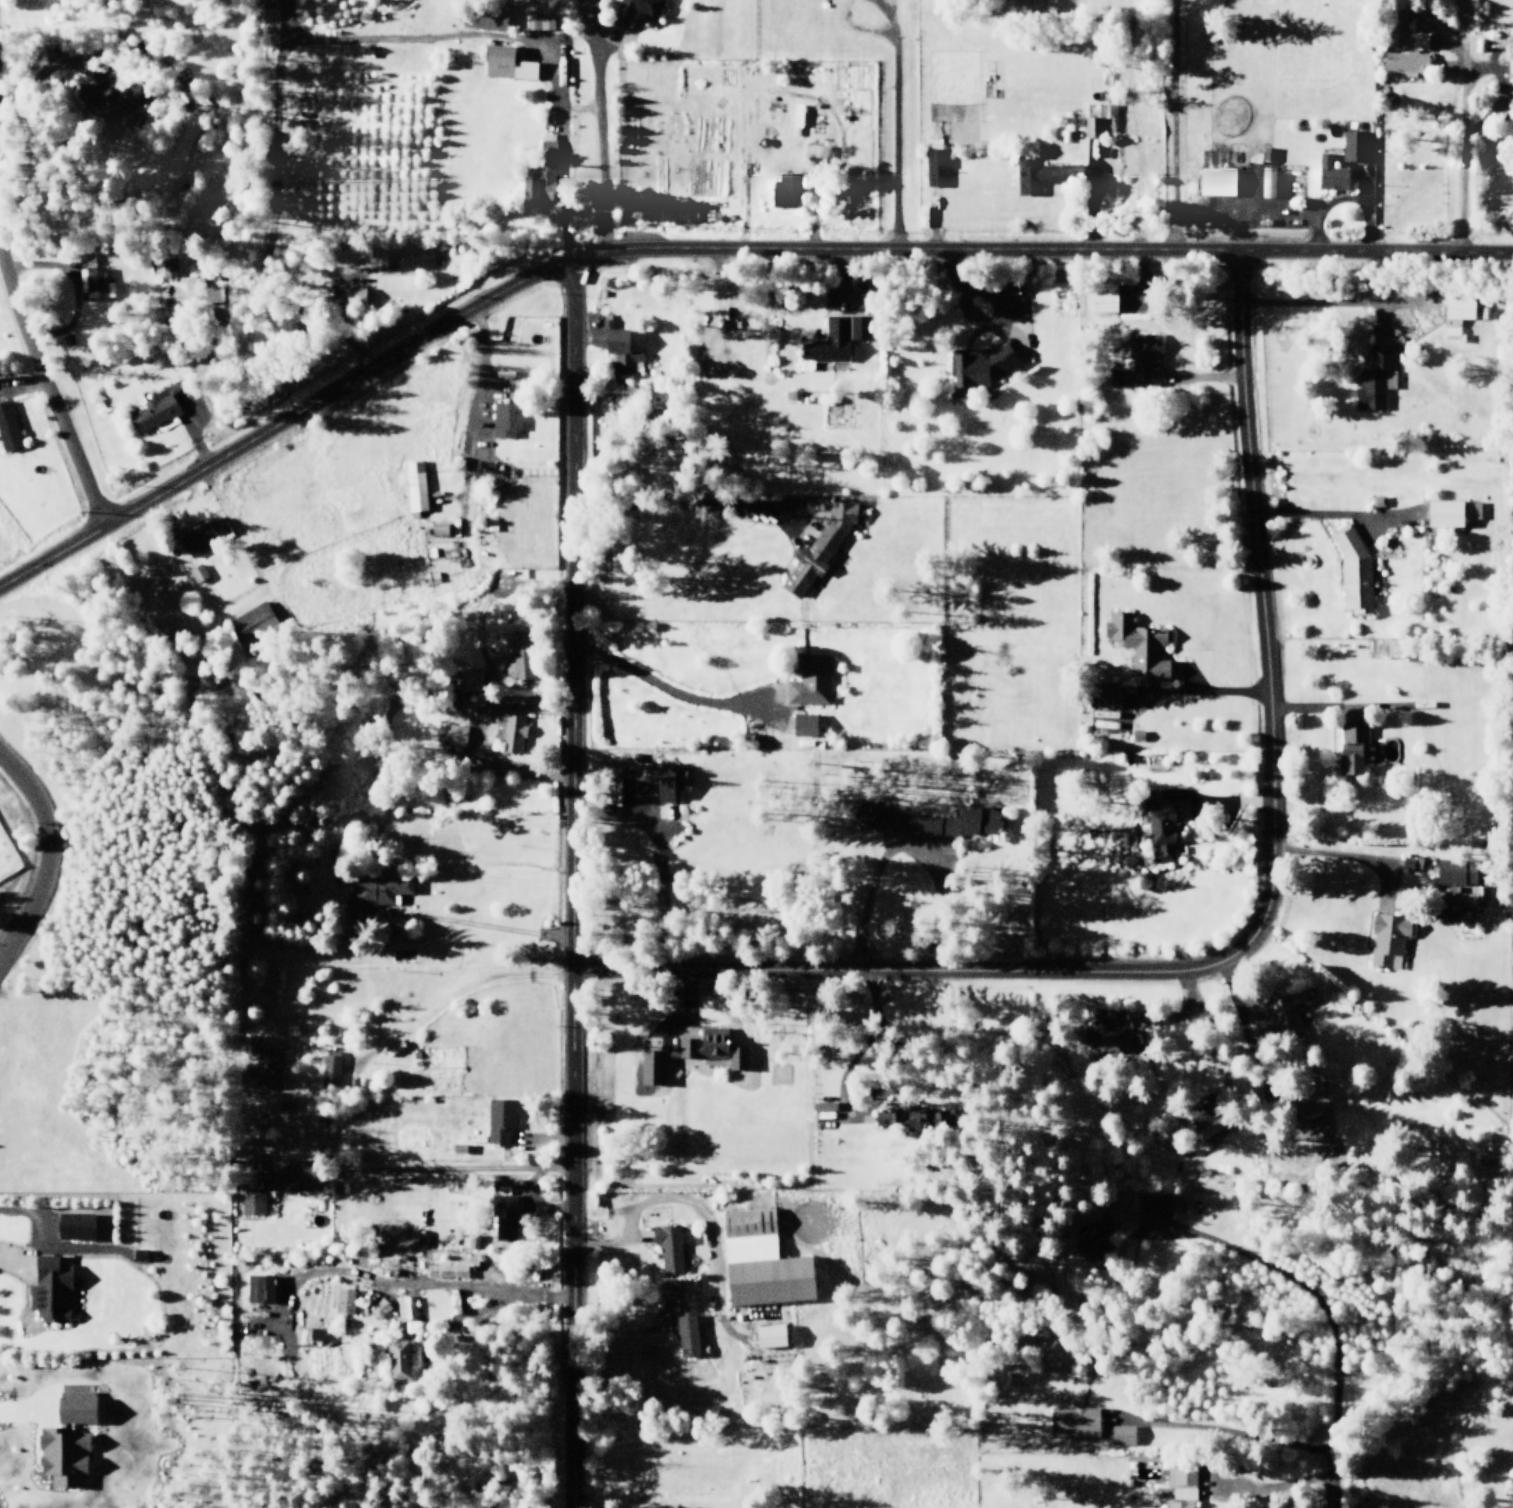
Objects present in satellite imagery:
building: (634, 10)
road: (843, 16)
building: (485, 17)
road: (588, 19)
building: (537, 22)
road: (539, 36)
road: (1441, 40)
road: (600, 42)
building: (1404, 45)
road: (47, 60)
building: (508, 63)
crop: (1282, 65)
road: (1444, 66)
road: (1484, 68)
road: (794, 96)
building: (115, 107)
road: (575, 108)
building: (1110, 117)
building: (796, 119)
road: (892, 125)
road: (1173, 125)
road: (1461, 125)
building: (1089, 126)
building: (1353, 145)
road: (560, 148)
building: (1267, 154)
building: (813, 155)
building: (934, 168)
building: (541, 172)
building: (1331, 174)
building: (1041, 175)
building: (1216, 182)
building: (1265, 182)
building: (784, 190)
road: (1364, 193)
road: (1089, 197)
road: (1360, 198)
road: (1357, 201)
road: (271, 206)
road: (1278, 214)
building: (661, 215)
building: (921, 215)
road: (933, 222)
road: (712, 250)
building: (411, 262)
road: (331, 264)
building: (166, 266)
building: (91, 276)
road: (844, 279)
road: (1149, 284)
road: (70, 285)
building: (194, 291)
building: (1104, 297)
building: (354, 299)
road: (1328, 301)
road: (993, 303)
road: (966, 314)
building: (1456, 315)
road: (1380, 318)
road: (582, 335)
building: (831, 342)
building: (621, 350)
building: (1138, 361)
building: (984, 366)
road: (1205, 377)
building: (1373, 379)
road: (22, 388)
road: (480, 392)
road: (49, 394)
building: (154, 411)
building: (504, 418)
building: (8, 430)
road: (192, 431)
building: (416, 485)
road: (720, 507)
road: (1324, 512)
building: (1449, 513)
building: (197, 539)
building: (817, 551)
road: (251, 563)
building: (1354, 571)
building: (195, 573)
road: (494, 592)
building: (248, 628)
building: (1139, 645)
building: (519, 664)
building: (468, 684)
building: (807, 684)
road: (1196, 692)
road: (668, 693)
building: (1104, 696)
road: (1343, 710)
road: (1130, 713)
road: (750, 719)
building: (801, 727)
road: (477, 732)
building: (507, 733)
building: (451, 736)
building: (1137, 736)
building: (1352, 747)
building: (667, 783)
road: (640, 797)
road: (1212, 802)
building: (864, 816)
building: (970, 825)
building: (927, 829)
building: (1162, 832)
road: (904, 840)
road: (50, 852)
road: (1349, 857)
road: (657, 859)
building: (1409, 864)
building: (1456, 872)
road: (1411, 878)
road: (570, 884)
building: (378, 895)
road: (446, 921)
road: (1250, 936)
building: (1386, 937)
road: (450, 995)
road: (687, 1012)
road: (1183, 1014)
building: (1284, 1017)
road: (1236, 1025)
building: (1102, 1033)
building: (708, 1049)
road: (1261, 1055)
road: (850, 1064)
building: (651, 1067)
building: (267, 1072)
building: (329, 1073)
building: (1305, 1100)
building: (906, 1117)
building: (1207, 1118)
building: (499, 1121)
road: (544, 1139)
building: (1192, 1151)
road: (452, 1168)
building: (250, 1199)
road: (698, 1205)
building: (1154, 1208)
building: (504, 1217)
building: (70, 1232)
road: (632, 1235)
building: (388, 1237)
building: (1092, 1239)
road: (1153, 1239)
building: (468, 1240)
road: (23, 1241)
road: (634, 1241)
park: (1431, 1247)
building: (668, 1248)
road: (70, 1259)
building: (760, 1261)
building: (133, 1262)
building: (444, 1269)
road: (398, 1289)
building: (253, 1292)
building: (45, 1294)
building: (341, 1300)
building: (407, 1306)
road: (416, 1317)
road: (1331, 1332)
building: (316, 1333)
building: (686, 1334)
building: (770, 1335)
building: (399, 1367)
building: (1072, 1421)
road: (21, 1424)
building: (1121, 1436)
road: (1229, 1450)
building: (60, 1458)
road: (1220, 1481)
building: (1179, 1484)

